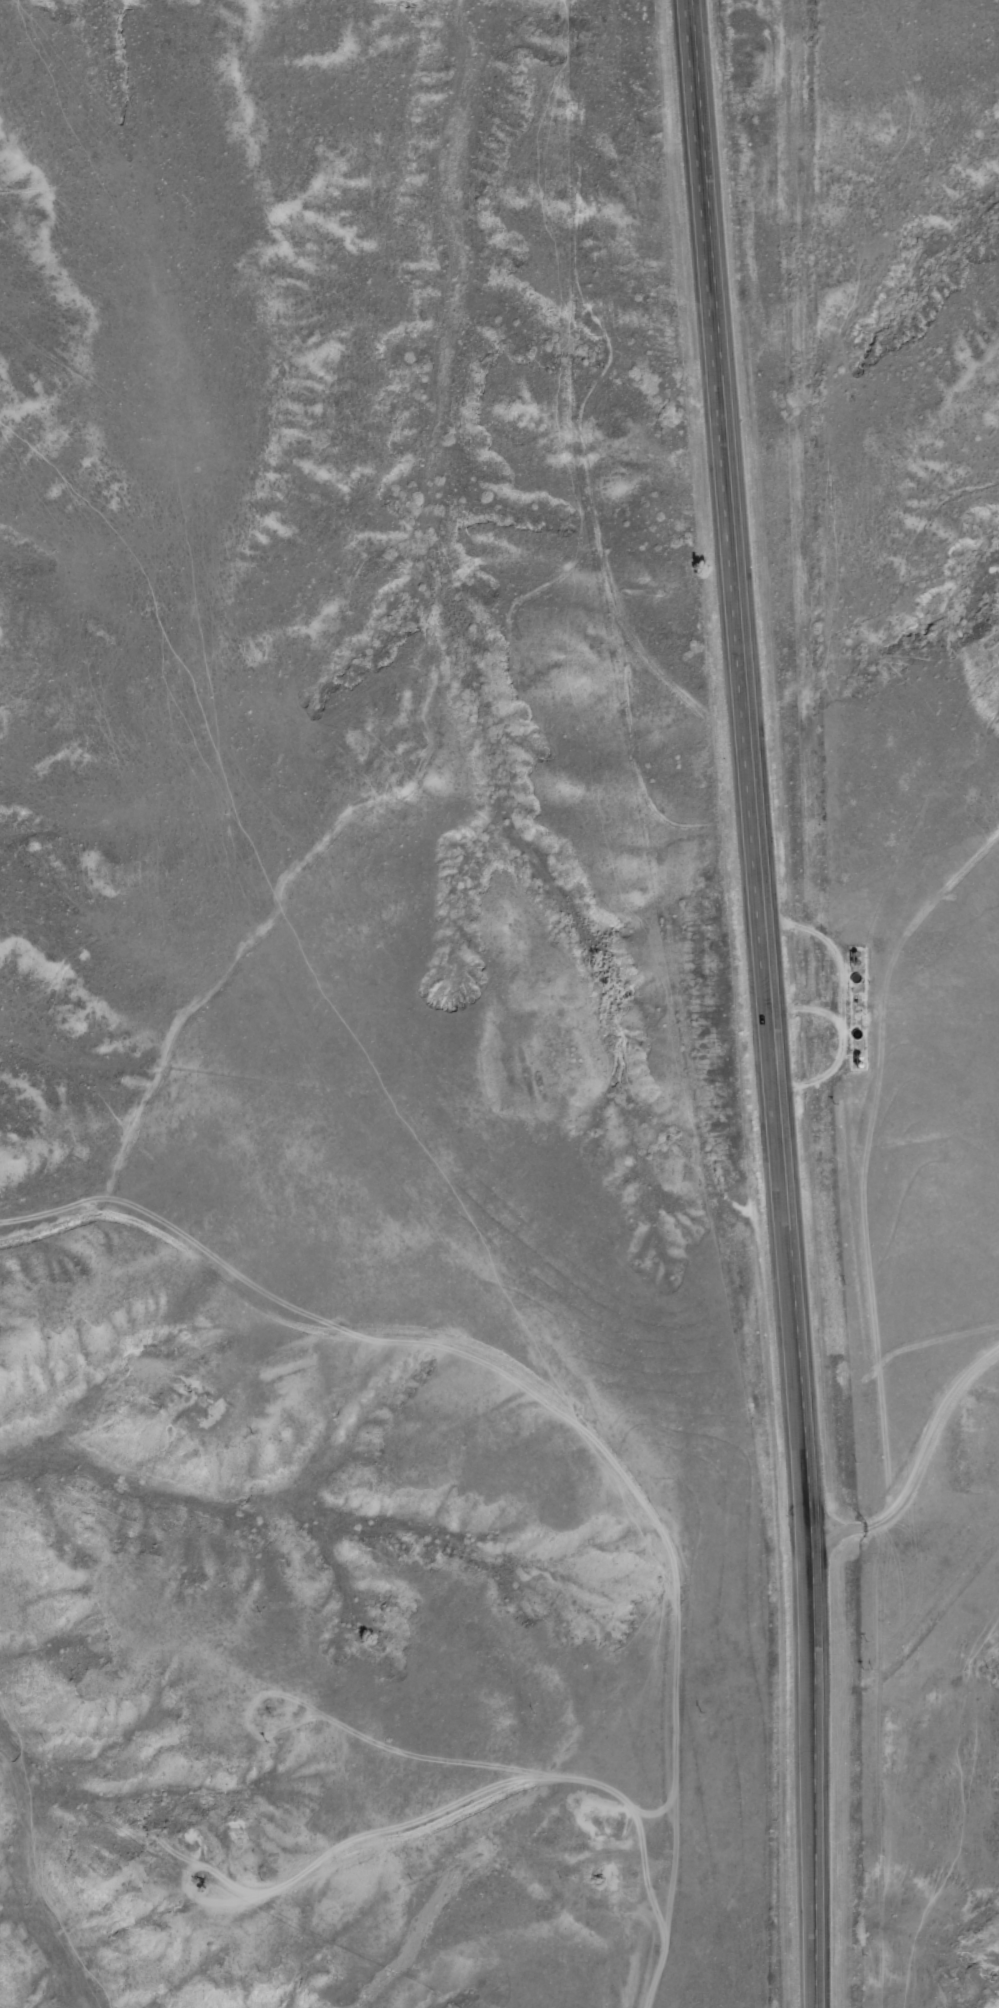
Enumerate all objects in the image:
road: (765, 1003)
road: (918, 1467)

